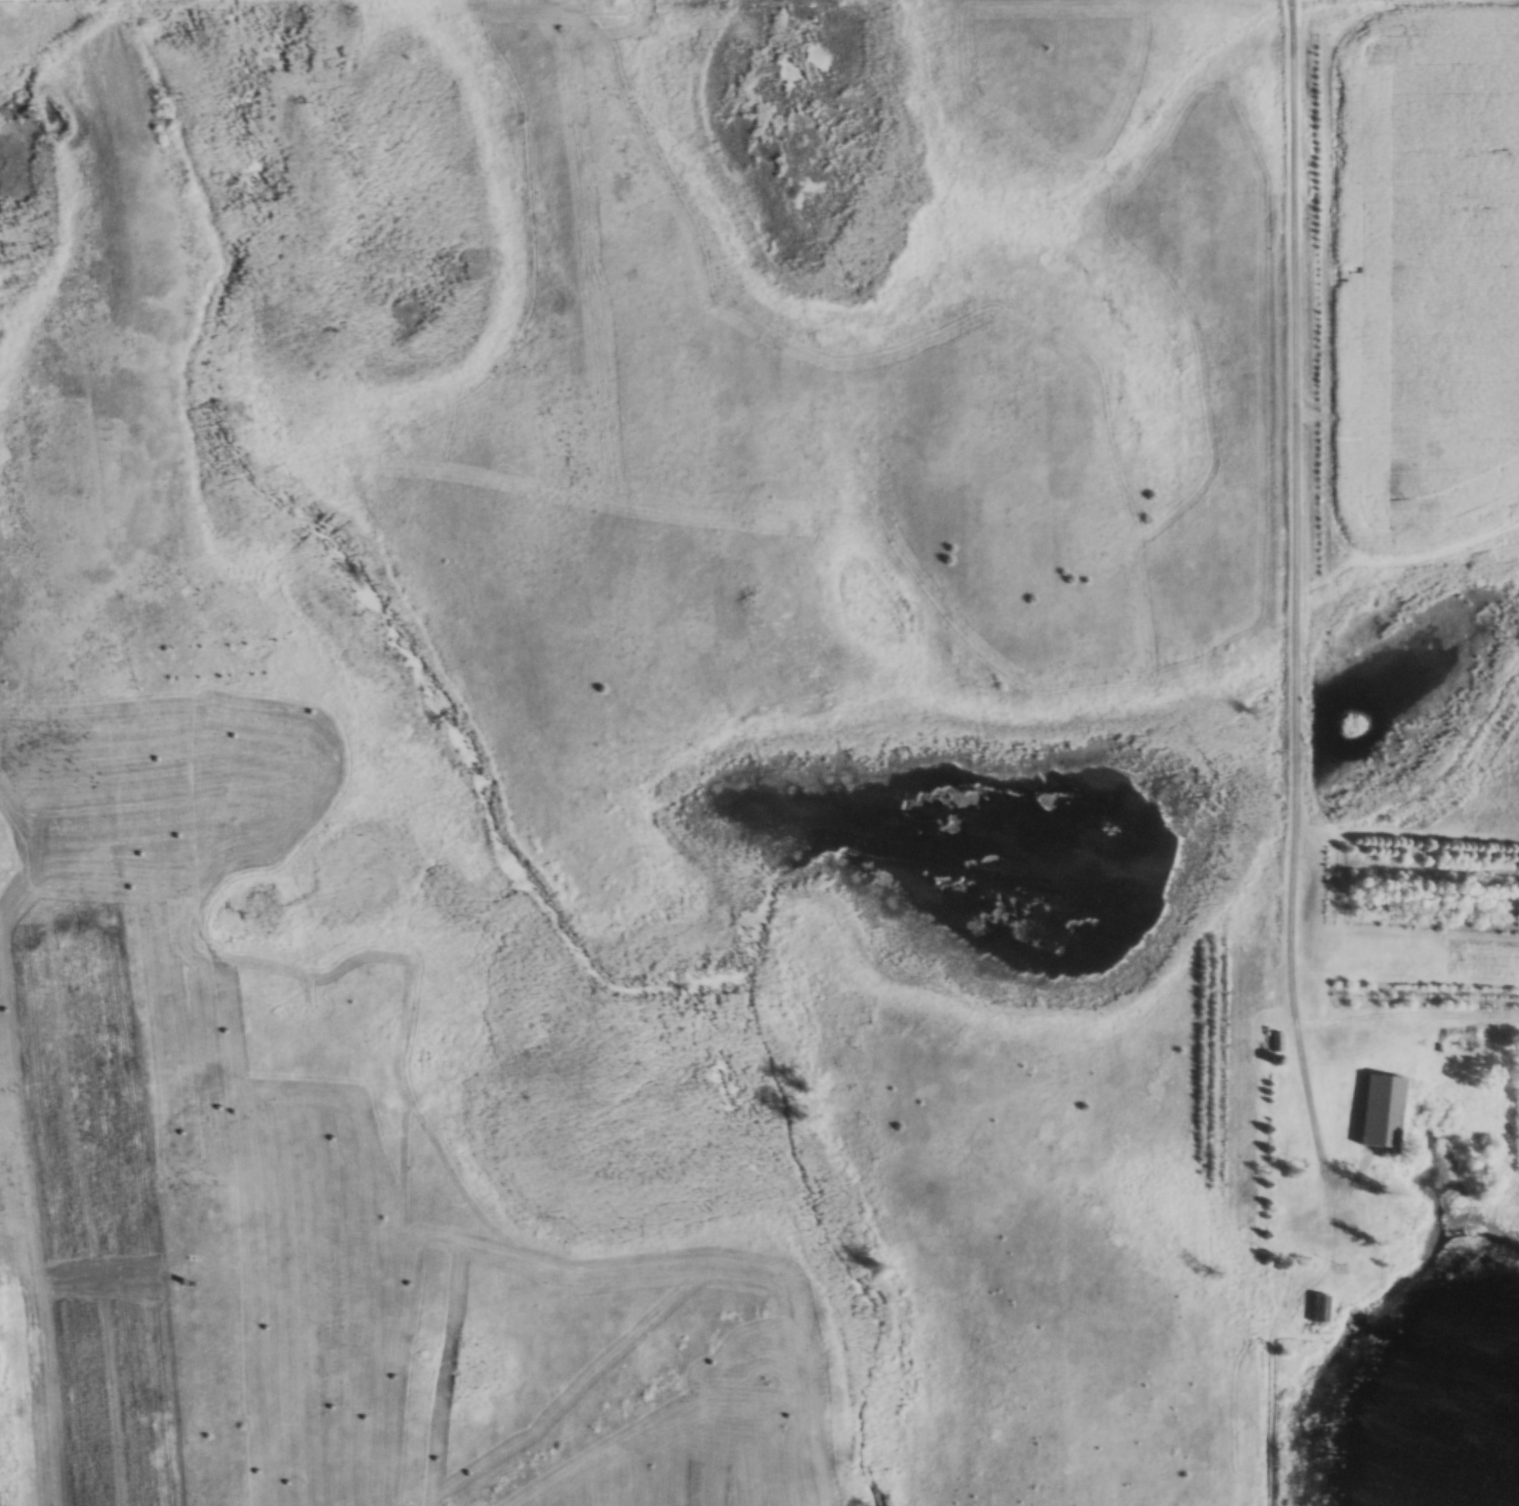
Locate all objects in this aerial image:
river: (819, 113)
river: (235, 267)
road: (1297, 602)
building: (1275, 1043)
building: (1380, 1113)
river: (676, 1114)
building: (1317, 1309)

